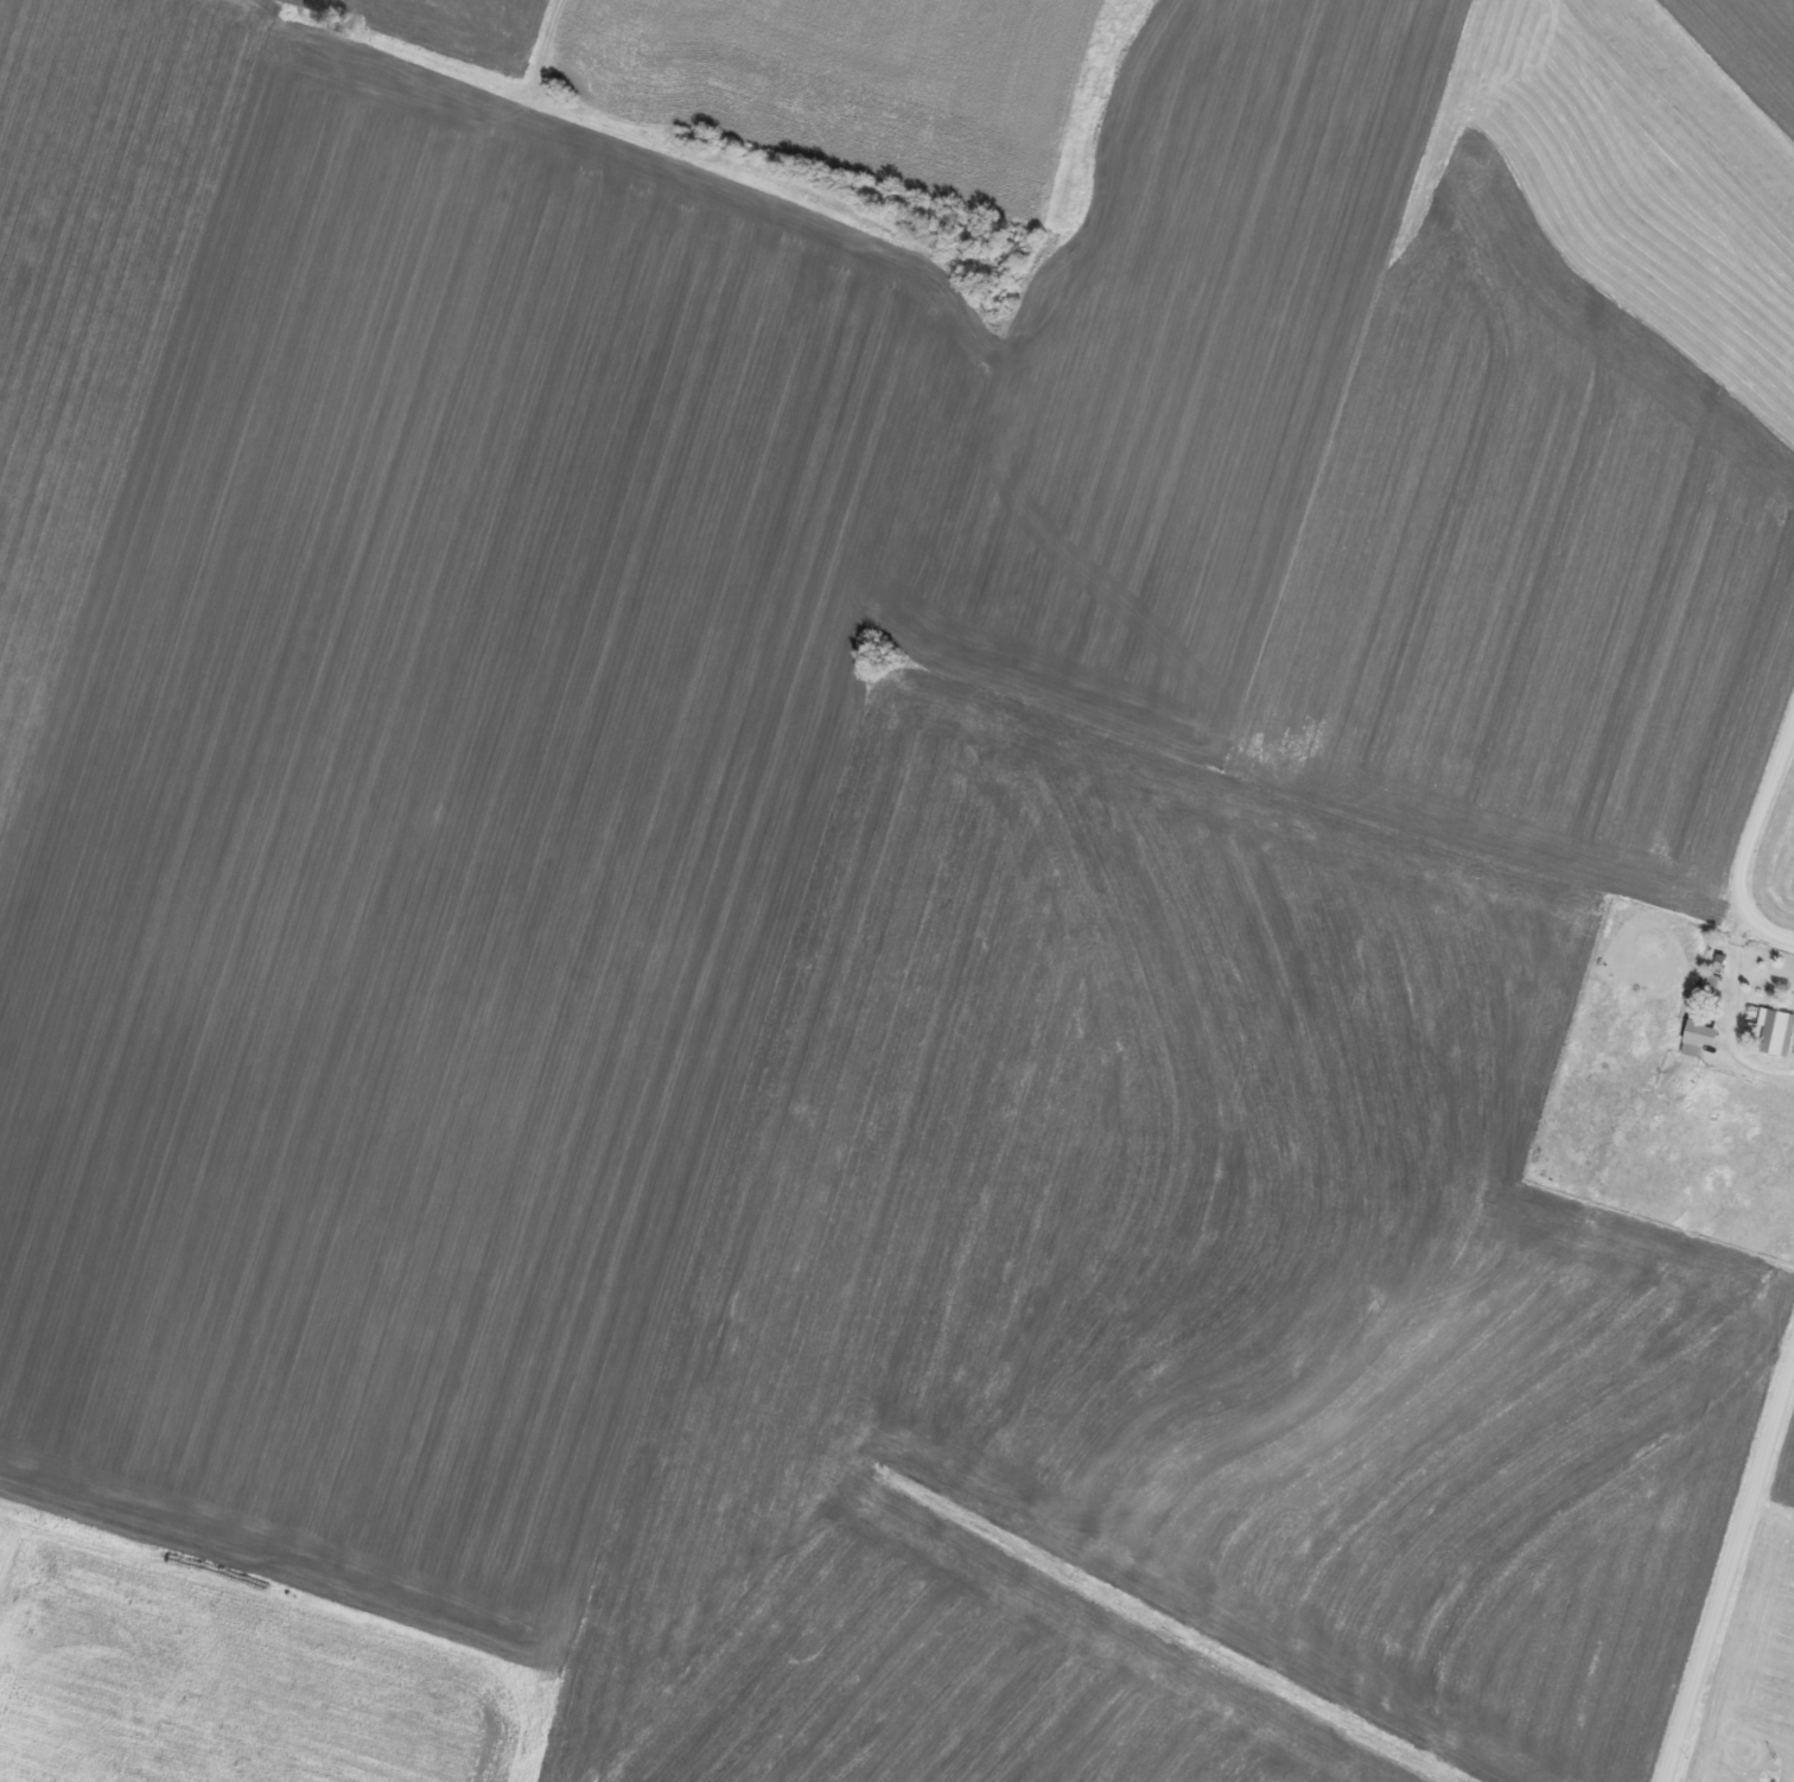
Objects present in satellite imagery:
road: (1745, 842)
road: (1728, 1016)
building: (1774, 1032)
building: (1694, 1035)
road: (1729, 1565)

